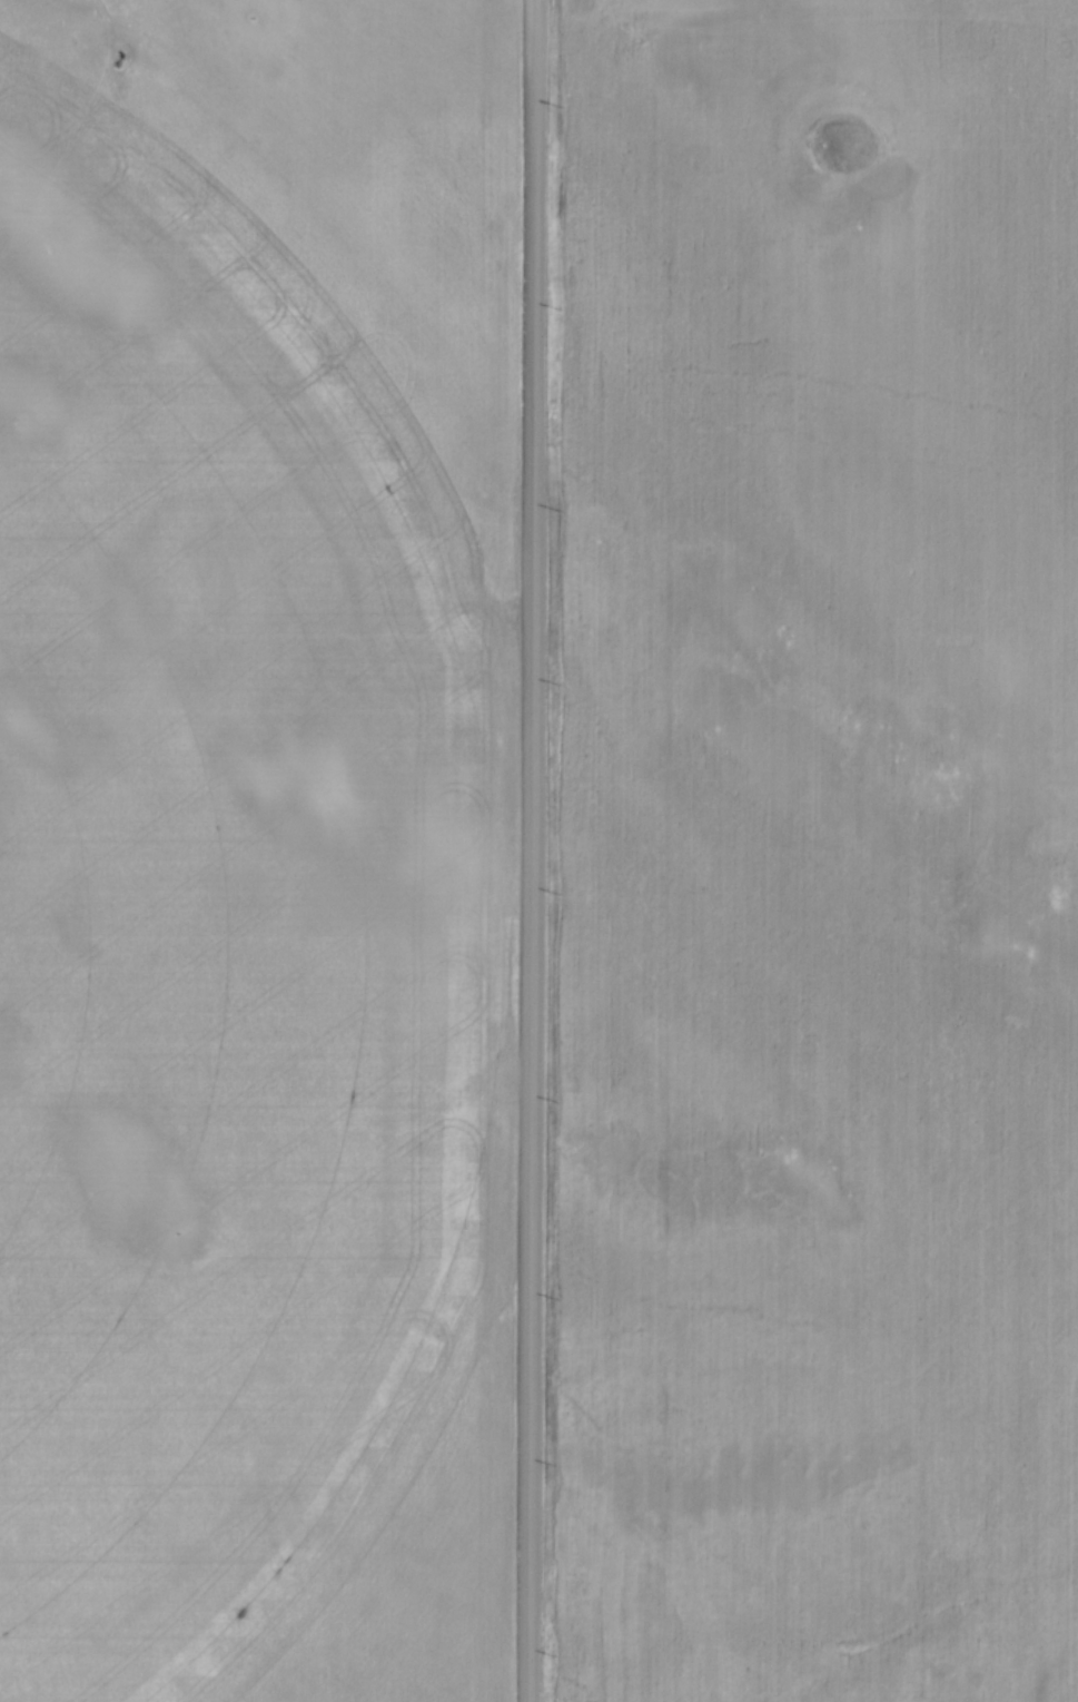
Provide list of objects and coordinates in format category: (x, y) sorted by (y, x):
crop: (256, 848)
road: (533, 850)
crop: (818, 853)

